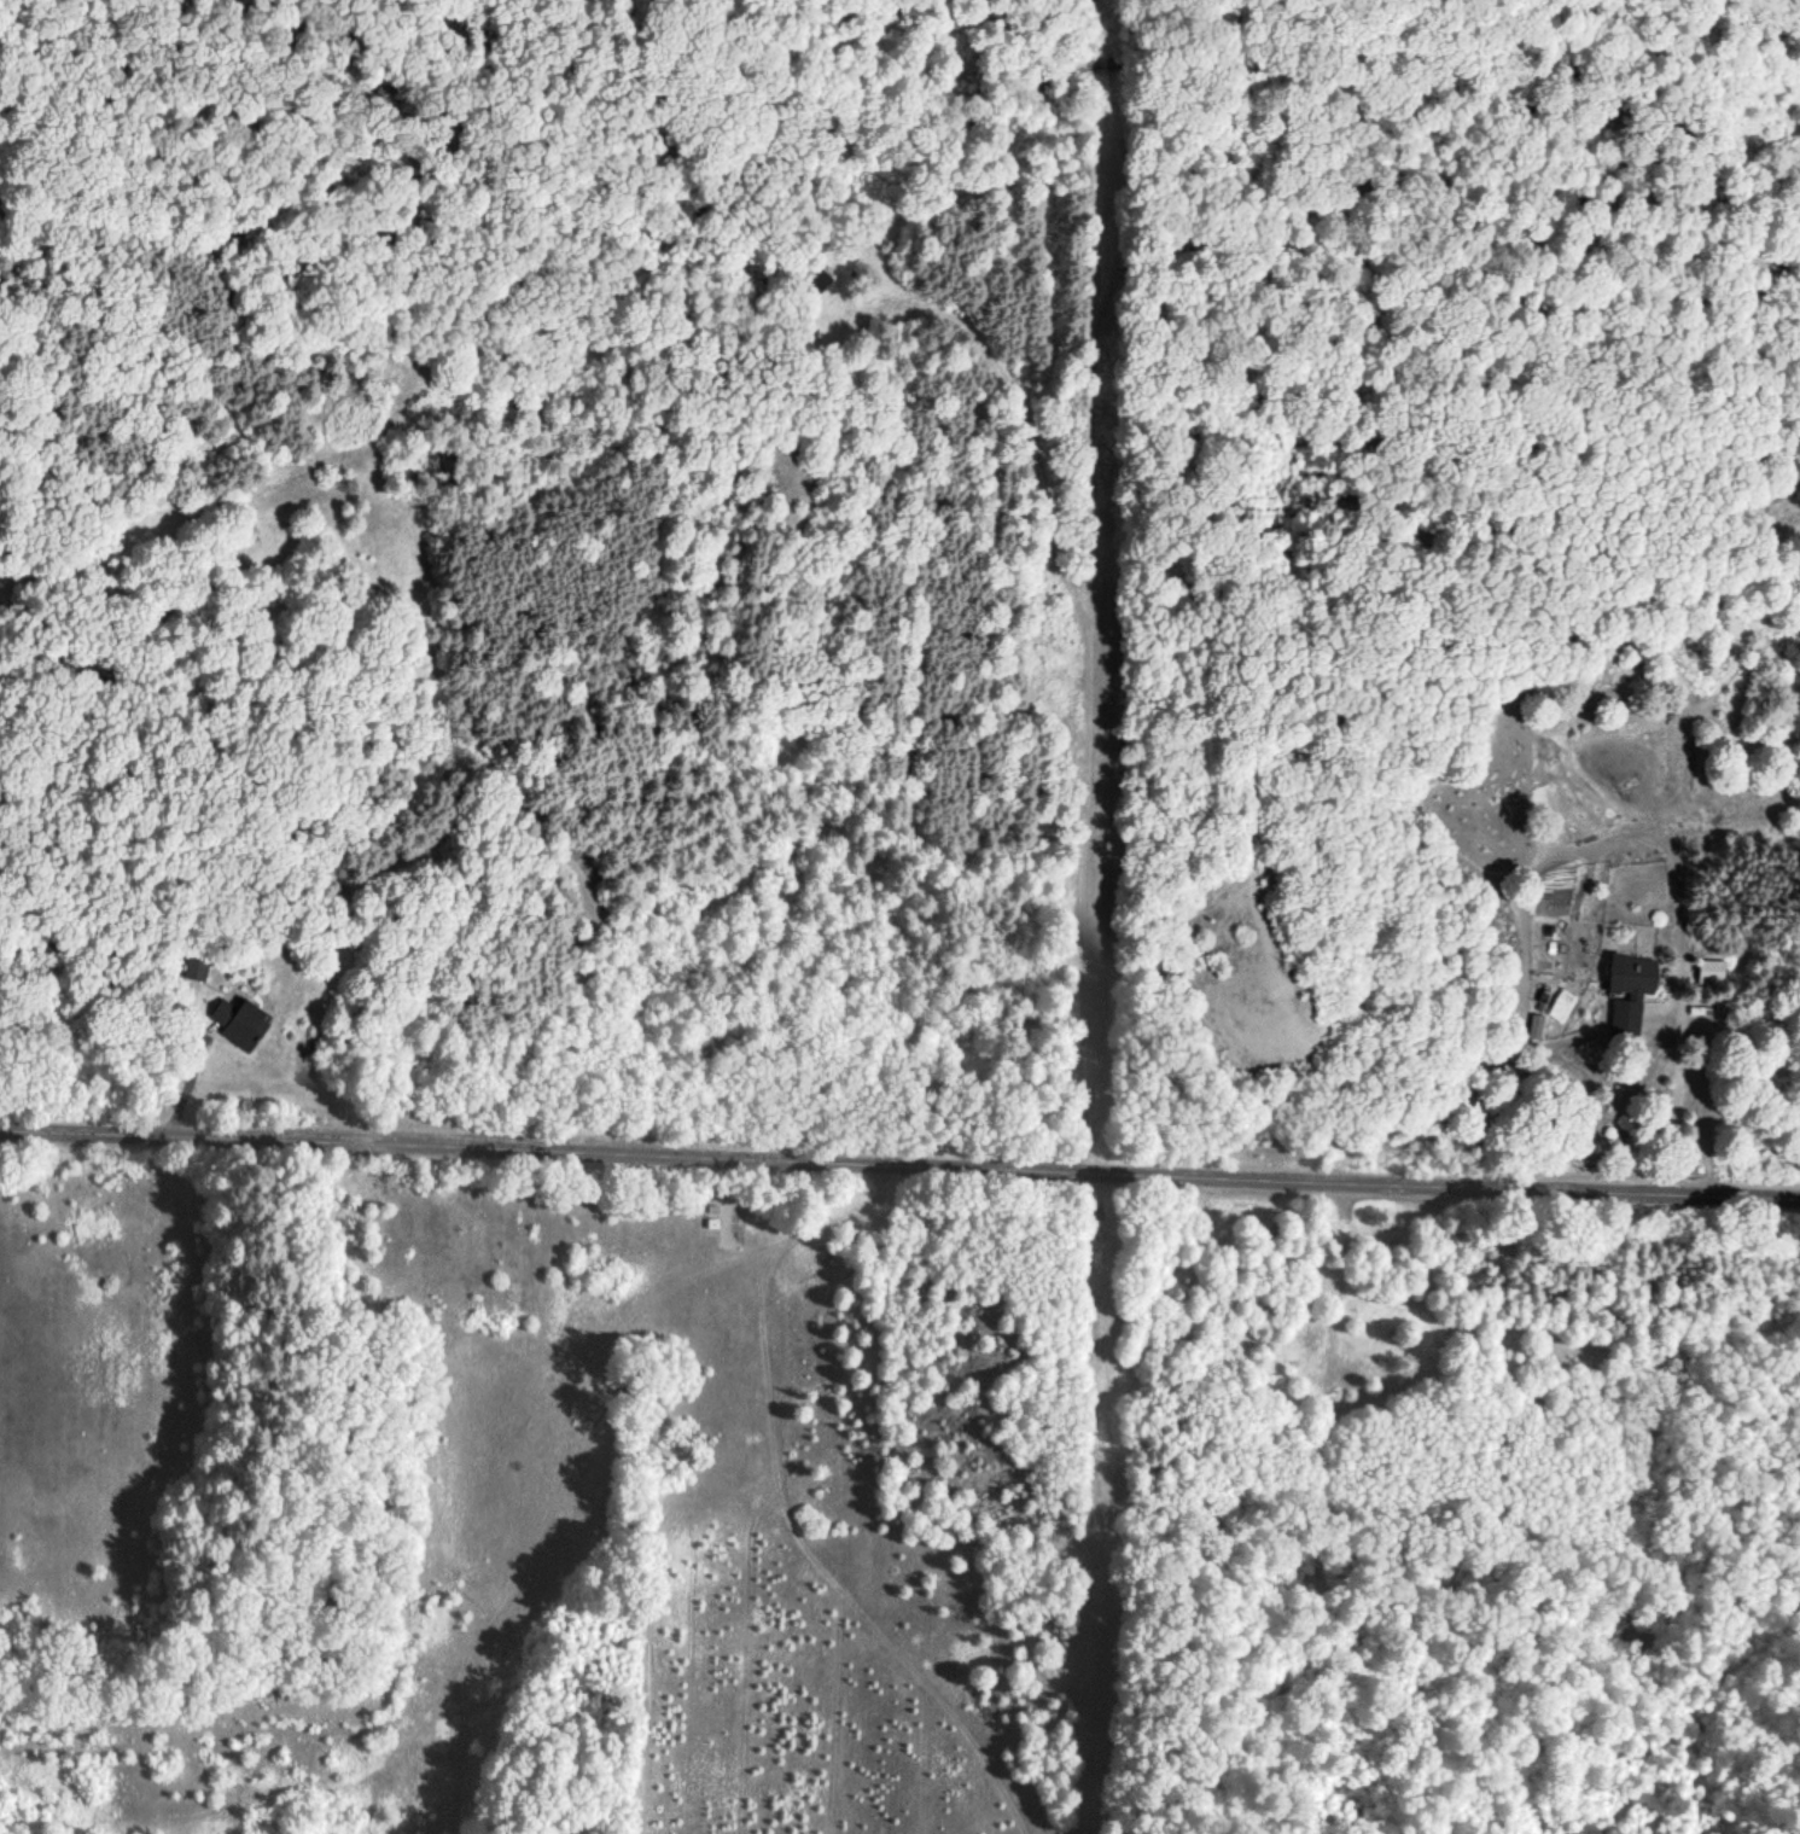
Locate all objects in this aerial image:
building: (820, 278)
building: (530, 418)
building: (193, 970)
building: (1711, 972)
building: (1635, 976)
building: (234, 1021)
road: (899, 1163)

